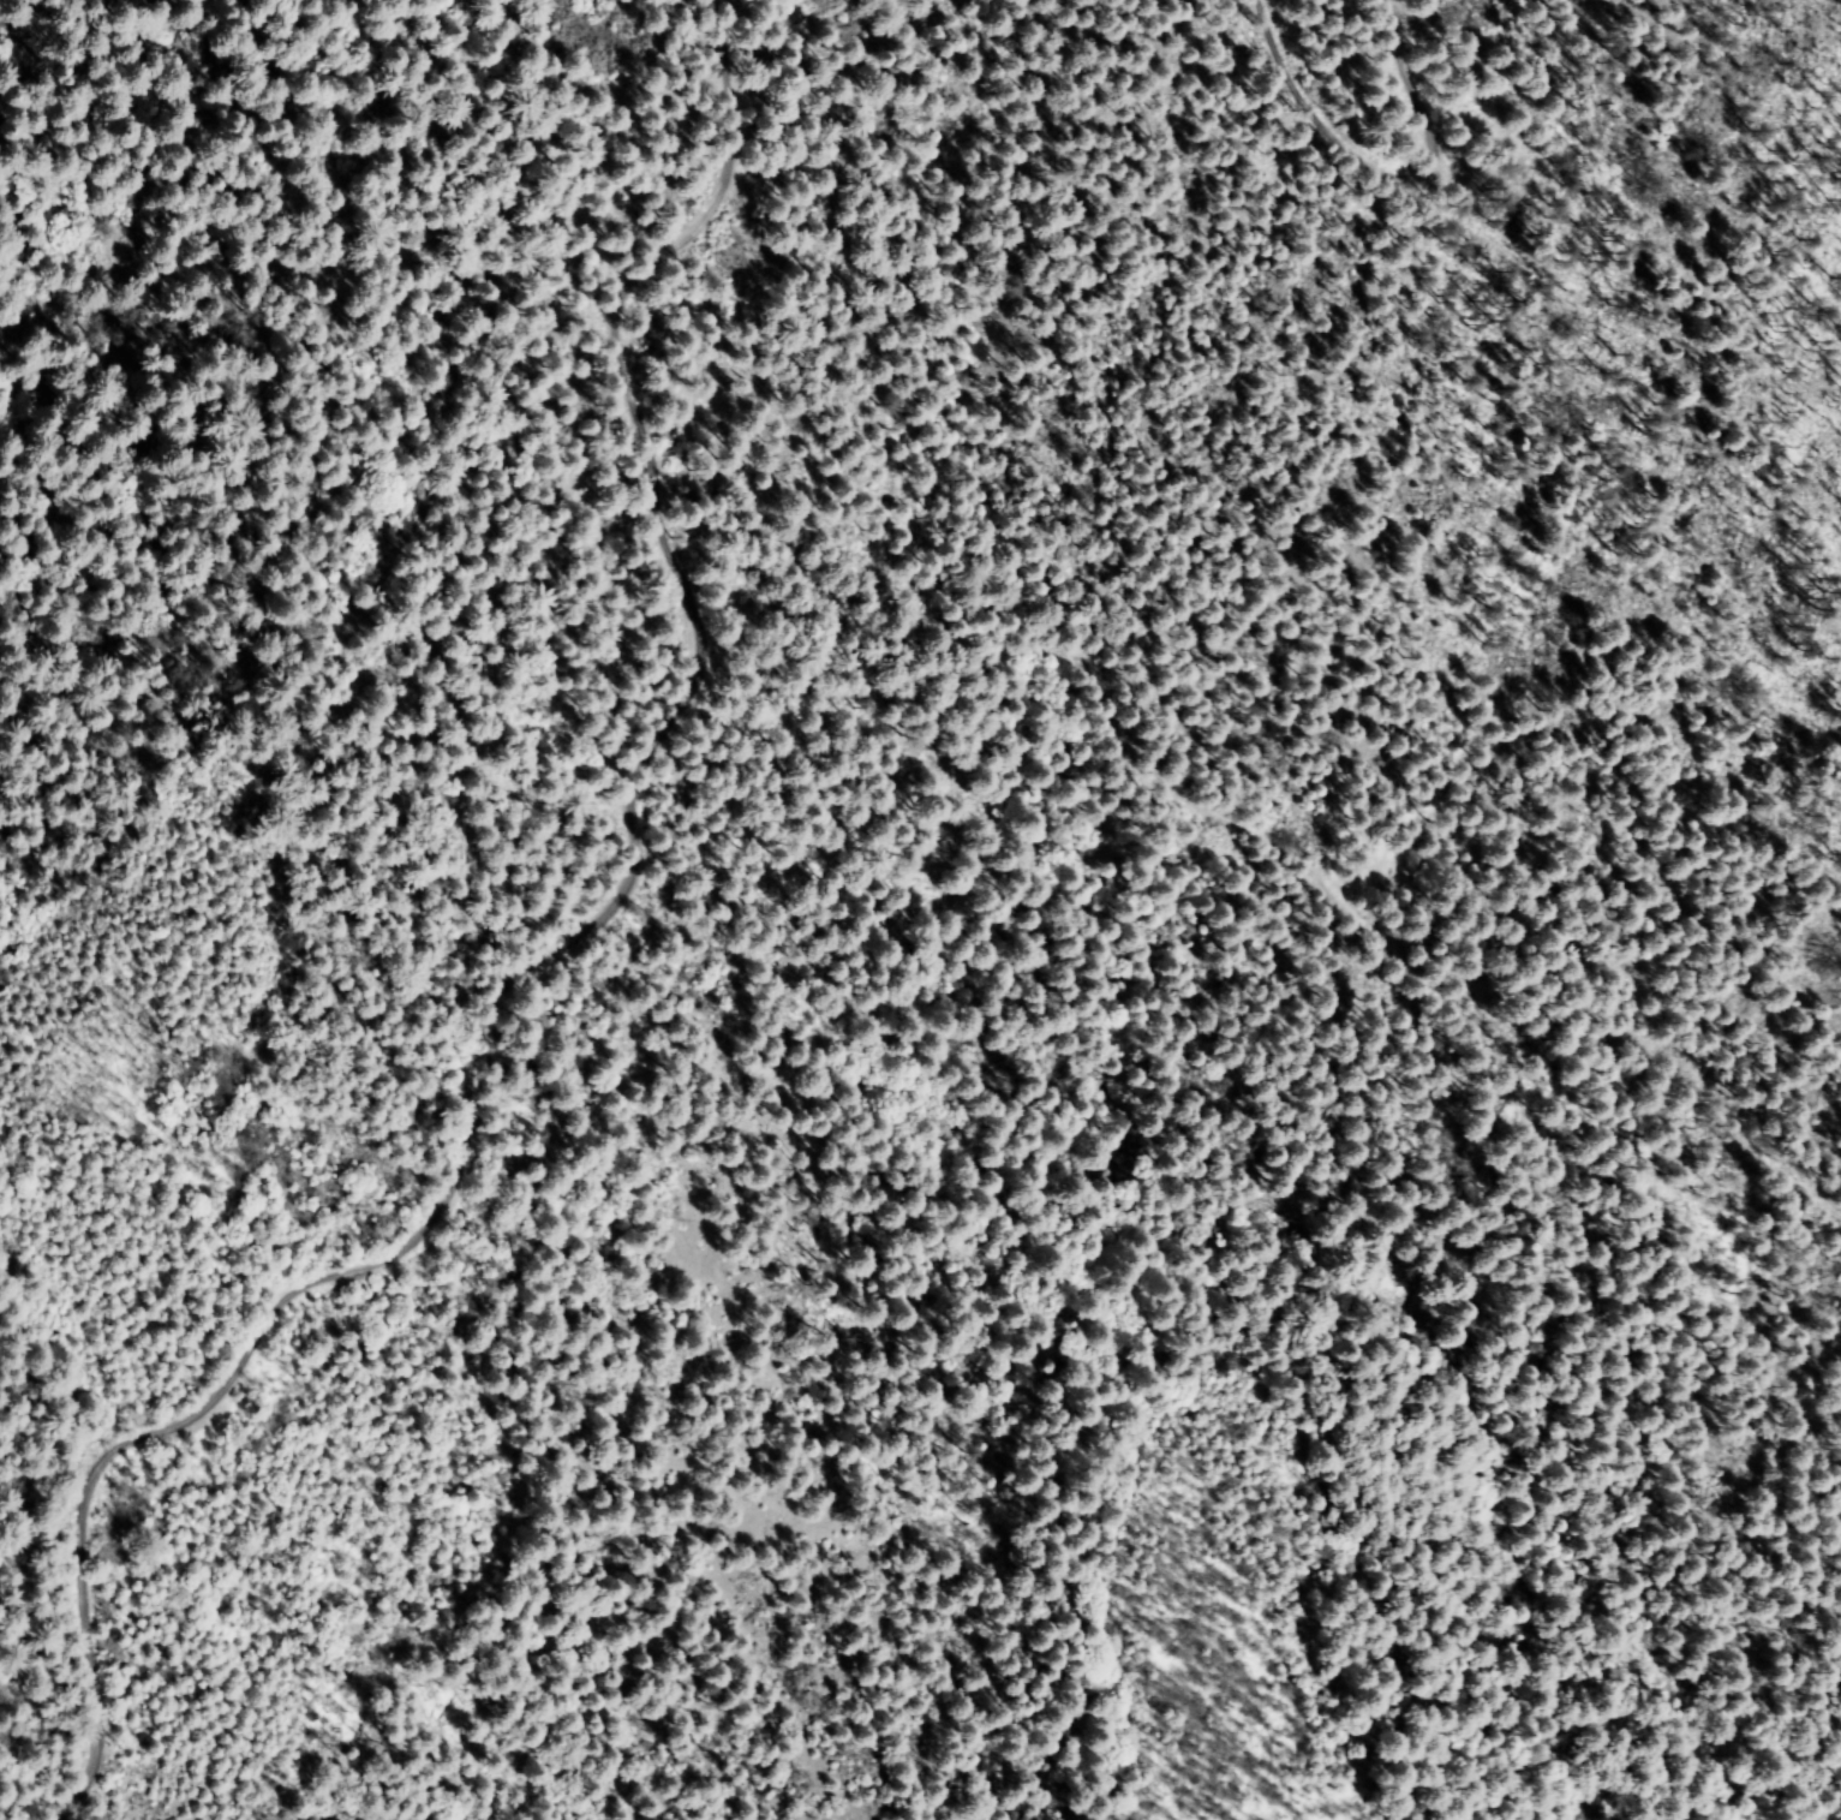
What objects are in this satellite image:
road: (1346, 131)
road: (1225, 754)
road: (545, 955)

